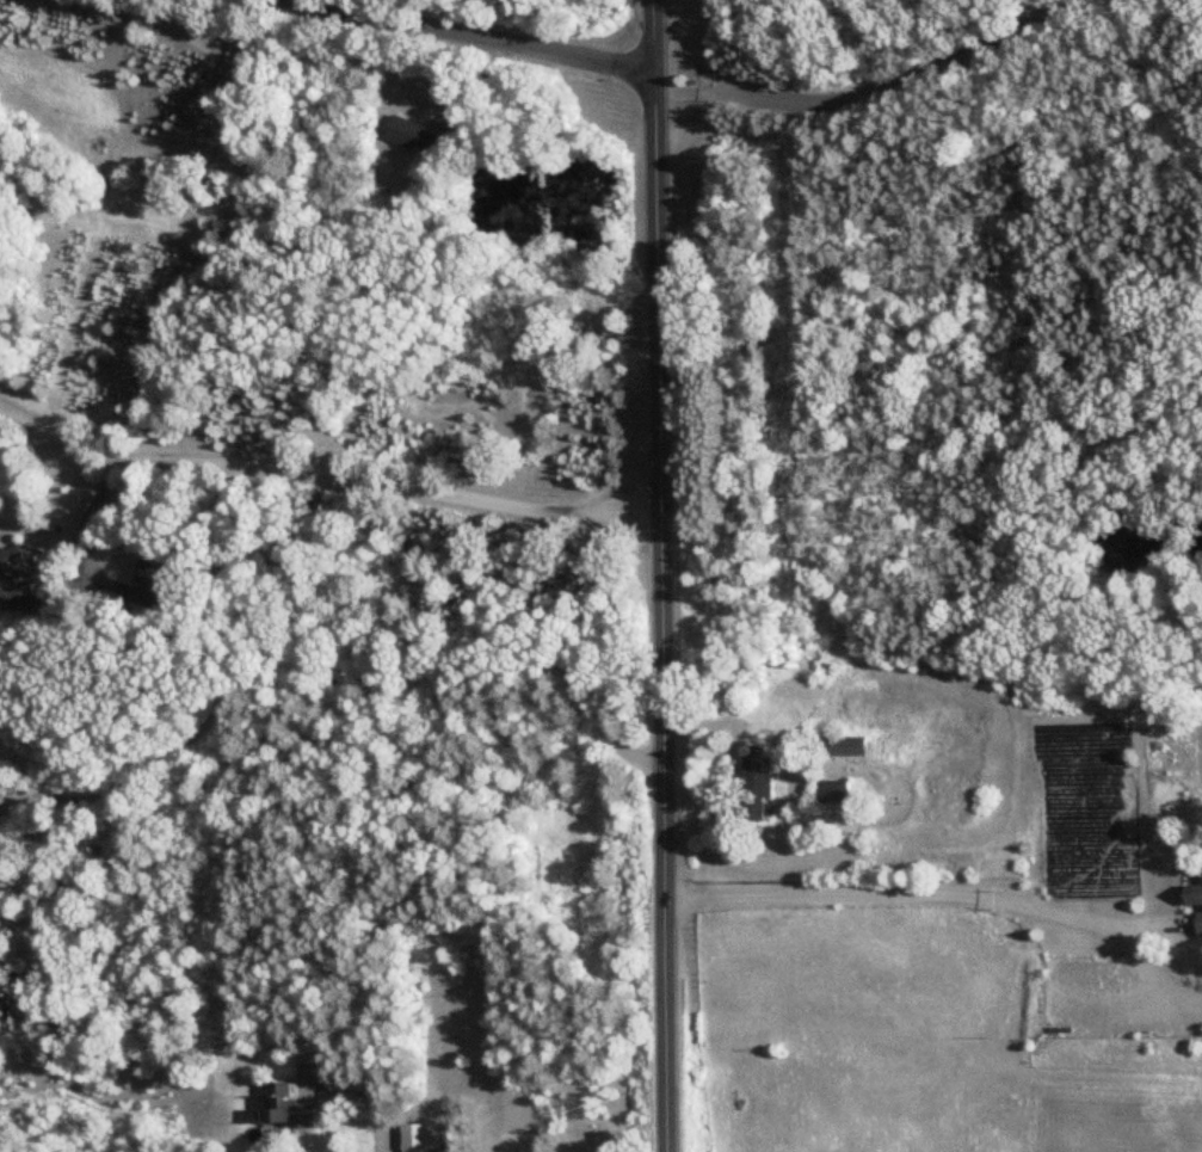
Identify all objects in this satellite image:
road: (473, 38)
road: (875, 92)
building: (406, 133)
road: (325, 475)
road: (661, 575)
road: (337, 678)
building: (842, 747)
building: (892, 747)
building: (759, 786)
building: (834, 791)
road: (923, 892)
building: (1196, 898)
road: (370, 1097)
building: (288, 1108)
building: (421, 1136)

